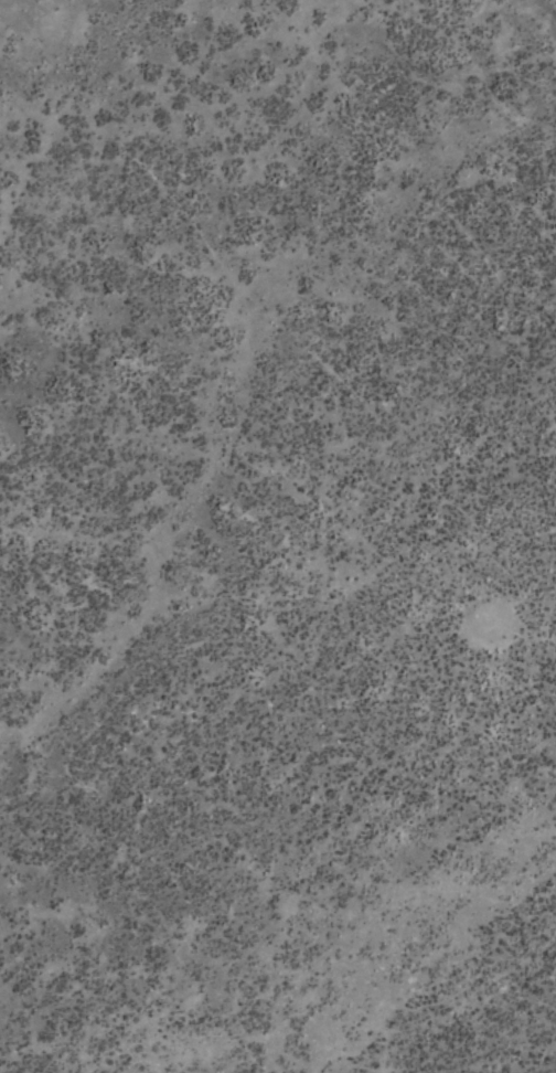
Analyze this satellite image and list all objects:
crop: (278, 536)

